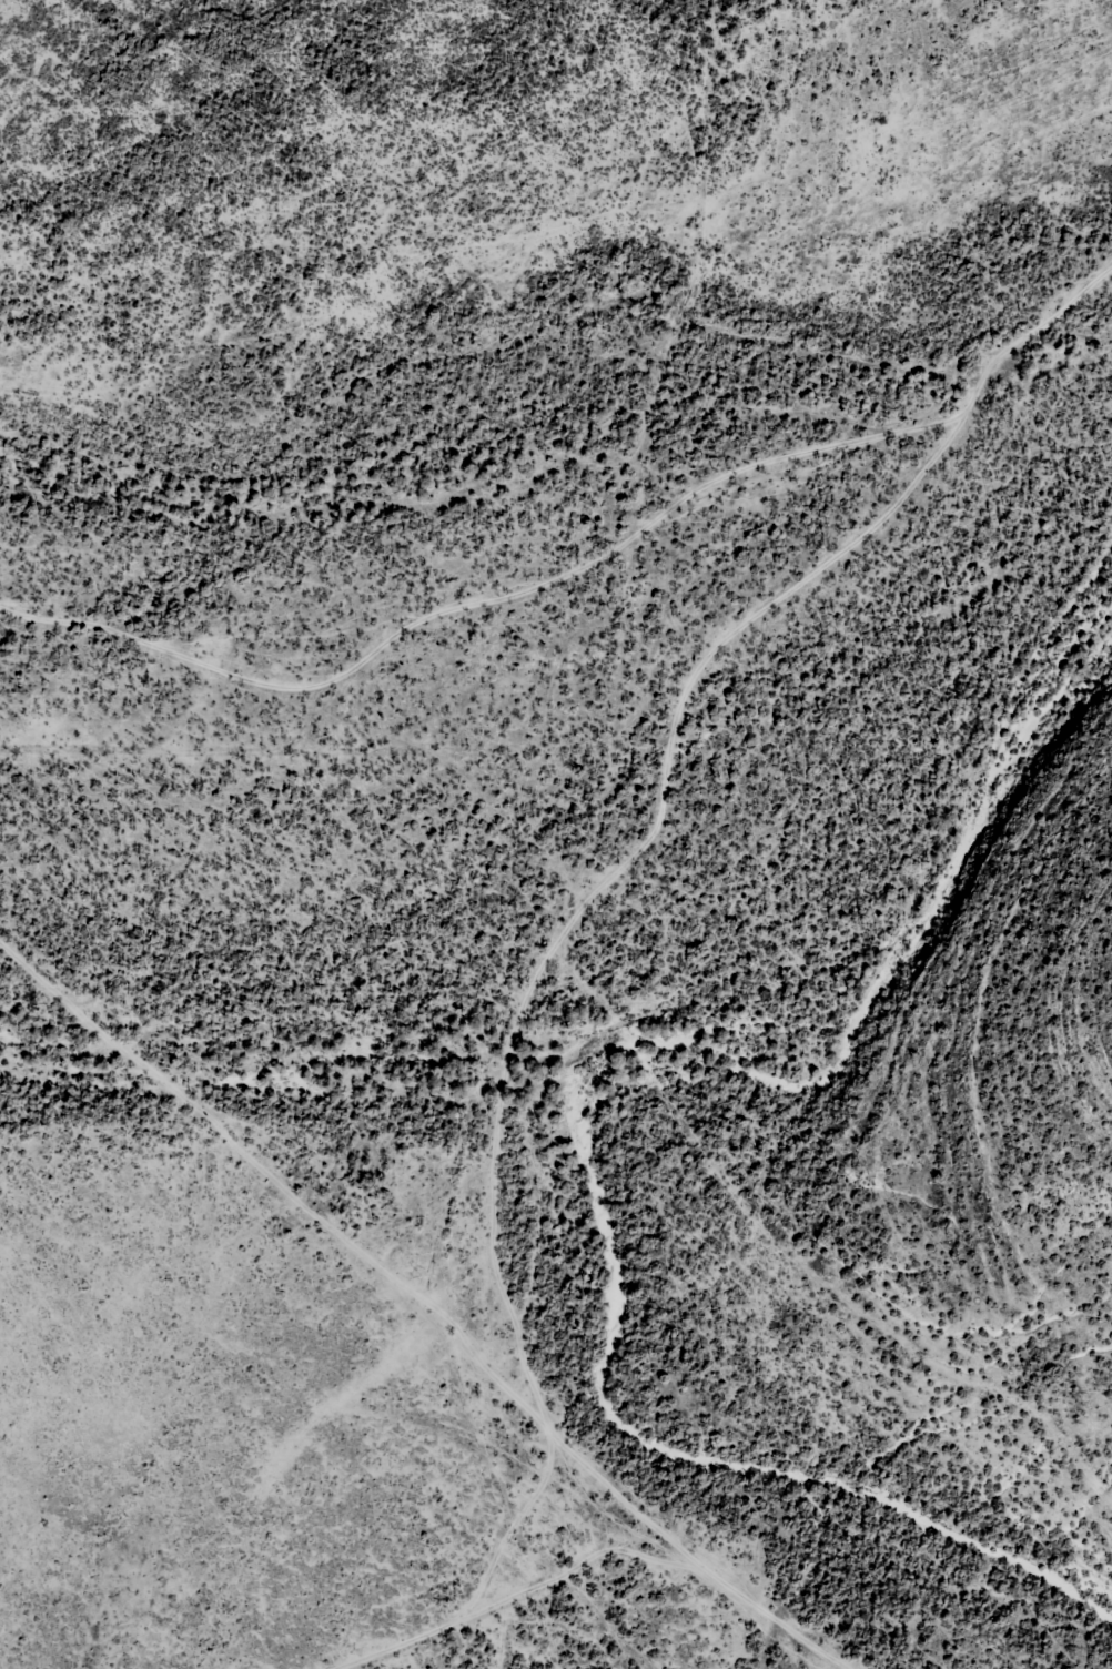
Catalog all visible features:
road: (585, 571)
road: (667, 750)
road: (537, 896)
road: (504, 1621)

